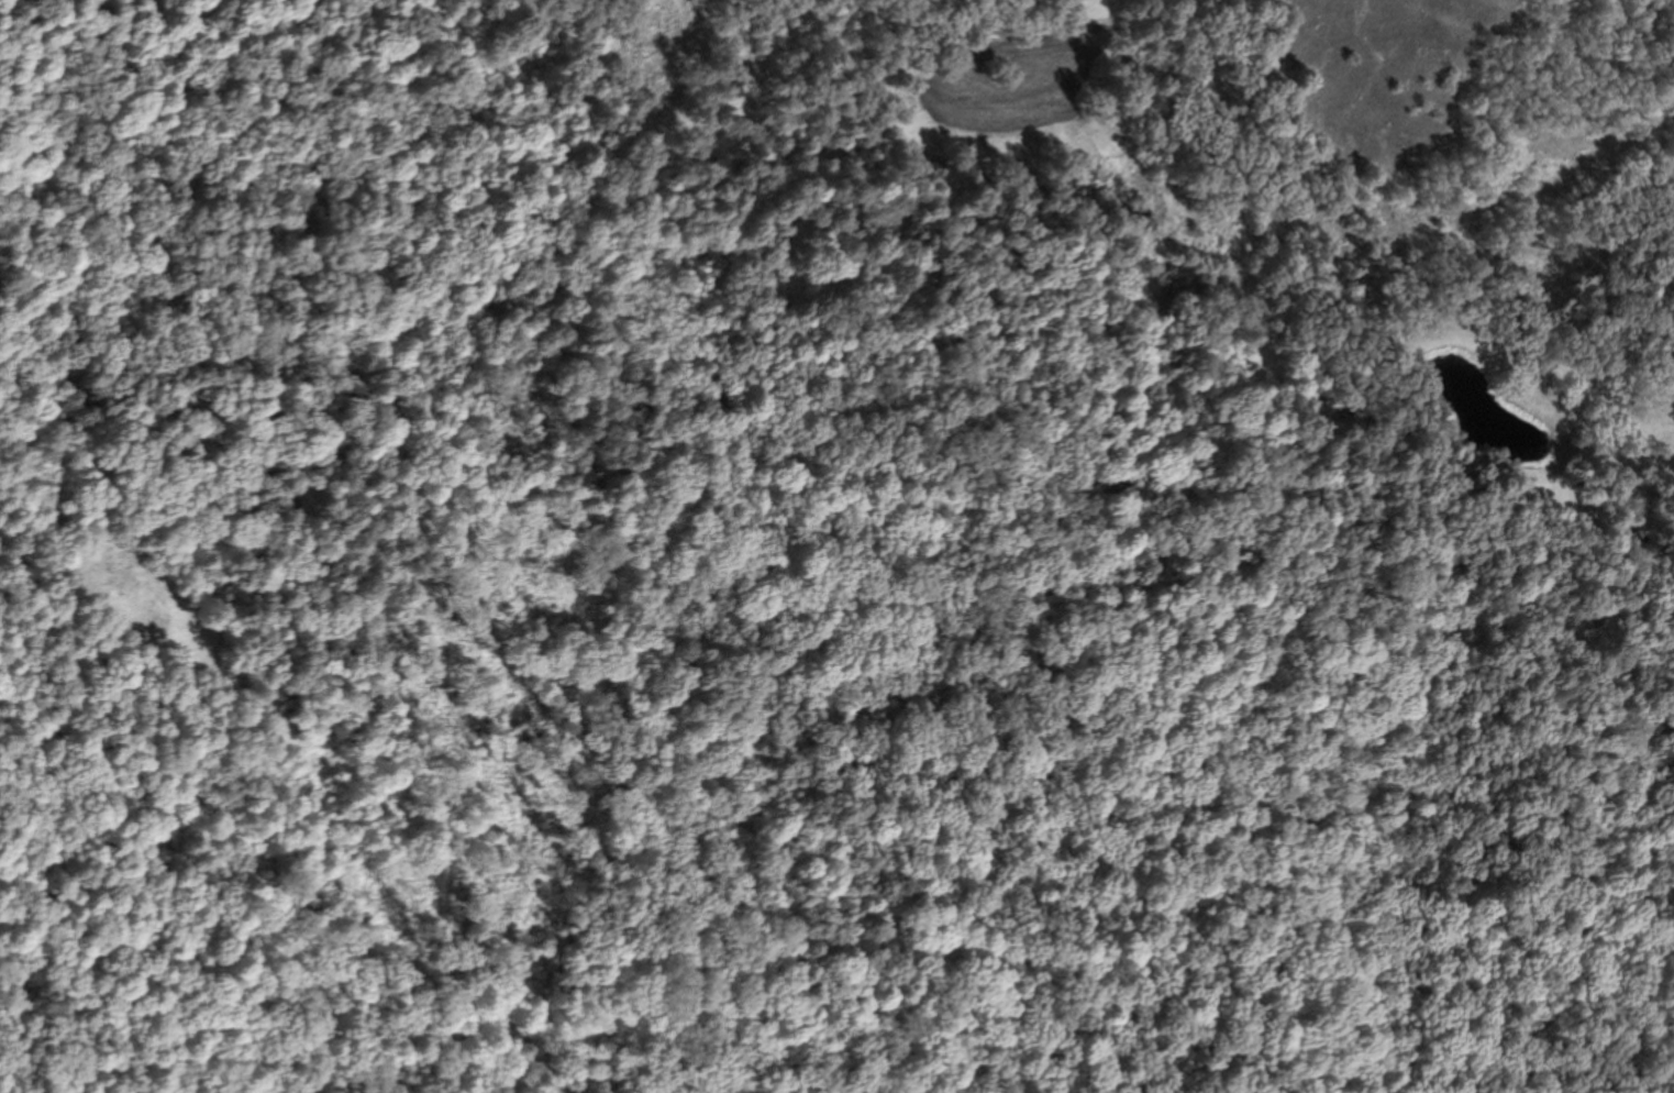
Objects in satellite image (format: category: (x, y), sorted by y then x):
building: (1670, 344)

